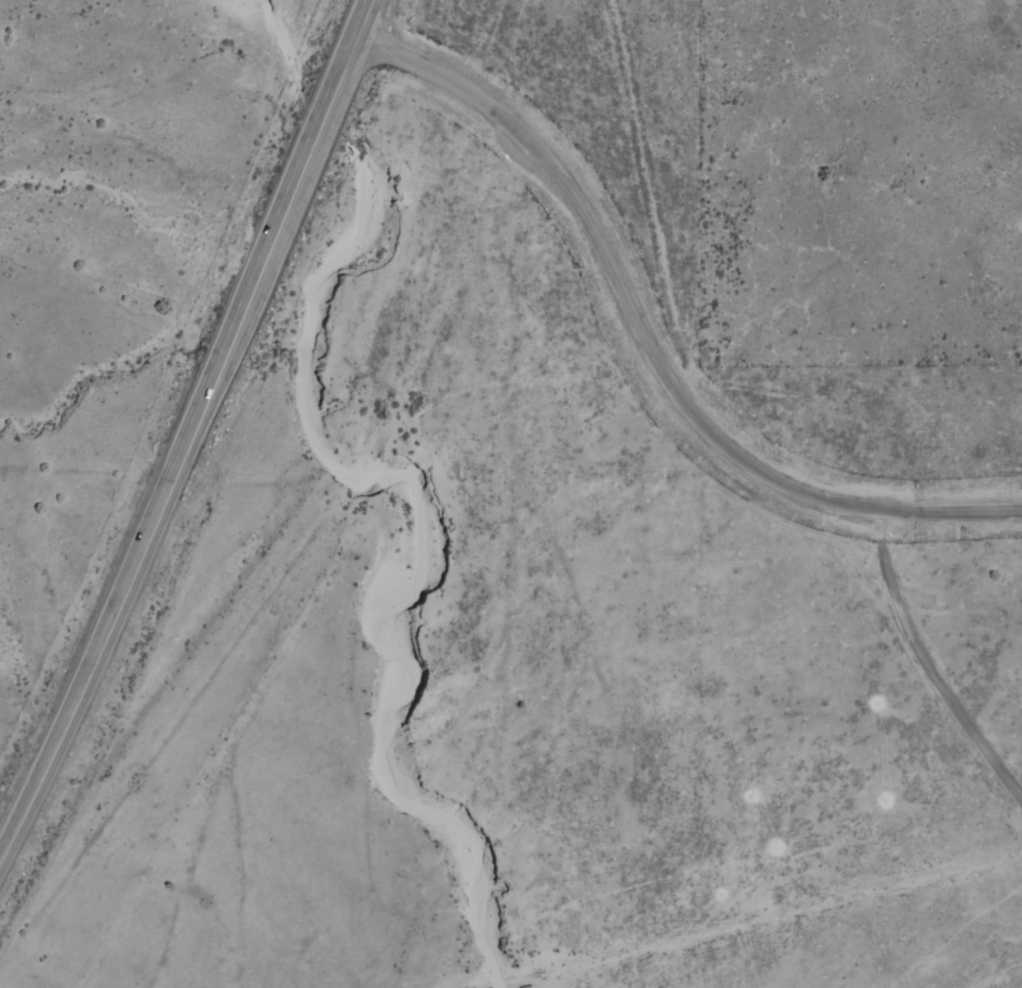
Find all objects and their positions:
road: (648, 346)
road: (192, 426)
road: (407, 540)

